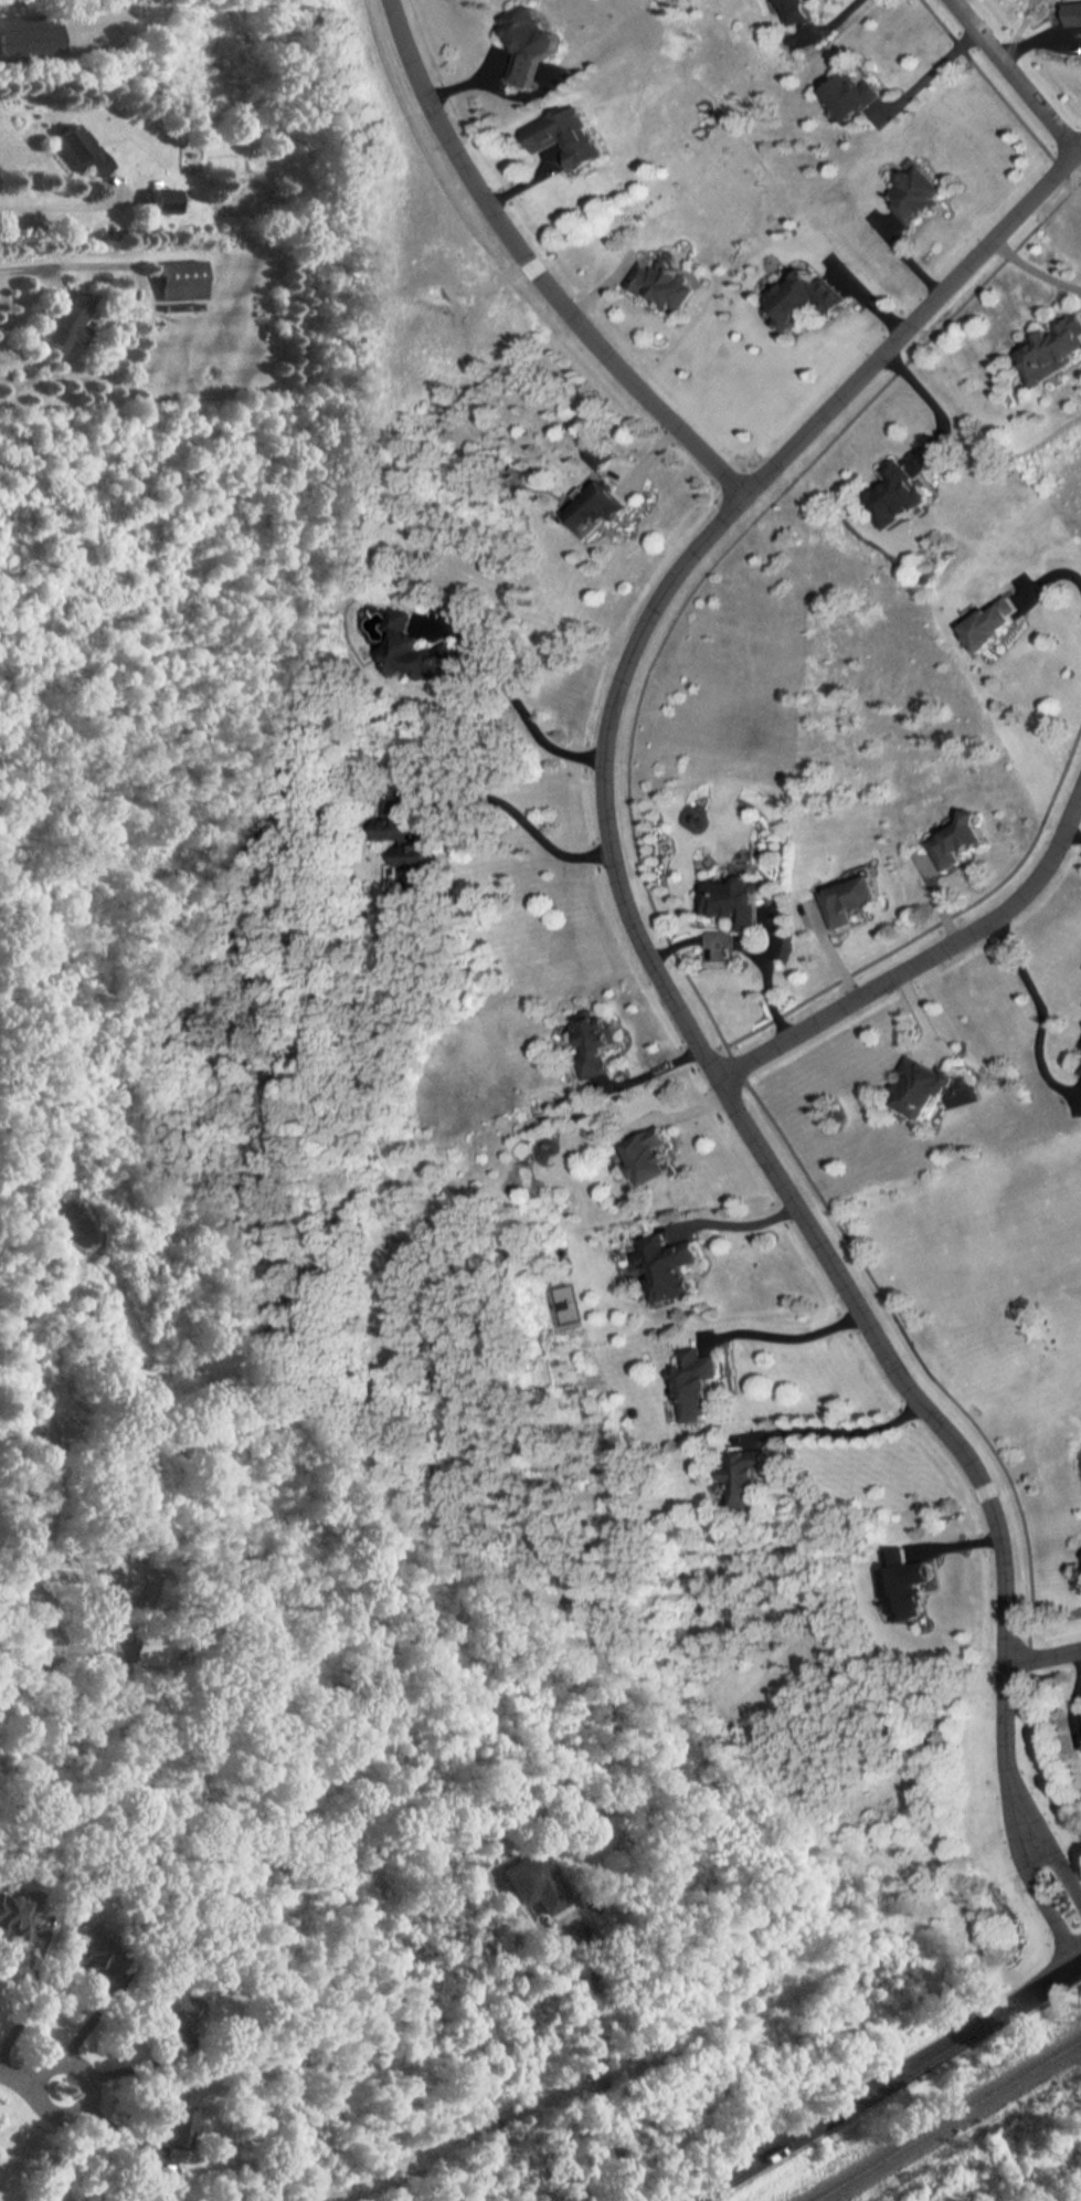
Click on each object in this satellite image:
building: (782, 11)
road: (810, 24)
building: (30, 35)
building: (531, 43)
road: (918, 72)
road: (1000, 76)
building: (841, 98)
building: (565, 138)
building: (80, 150)
building: (913, 196)
building: (166, 202)
road: (59, 209)
road: (1035, 264)
road: (22, 270)
road: (539, 275)
building: (181, 281)
building: (664, 286)
building: (805, 297)
building: (68, 319)
building: (1051, 355)
road: (935, 400)
building: (604, 457)
building: (899, 494)
building: (601, 508)
road: (698, 568)
road: (1064, 572)
building: (986, 623)
building: (418, 650)
road: (522, 705)
road: (519, 815)
building: (950, 841)
building: (851, 901)
building: (736, 902)
road: (749, 951)
road: (836, 951)
road: (943, 961)
road: (1038, 1014)
building: (594, 1042)
building: (1079, 1066)
building: (920, 1088)
building: (653, 1157)
road: (741, 1220)
building: (677, 1270)
road: (791, 1339)
building: (703, 1386)
road: (845, 1433)
road: (954, 1446)
building: (754, 1481)
road: (47, 1654)
road: (1046, 1655)
road: (1059, 1875)
building: (534, 1883)
road: (1039, 1913)
building: (13, 1918)
road: (575, 1929)
building: (98, 1958)
road: (19, 2004)
building: (171, 2011)
road: (126, 2073)
road: (32, 2078)
road: (886, 2084)
road: (608, 2103)
railway: (947, 2121)

